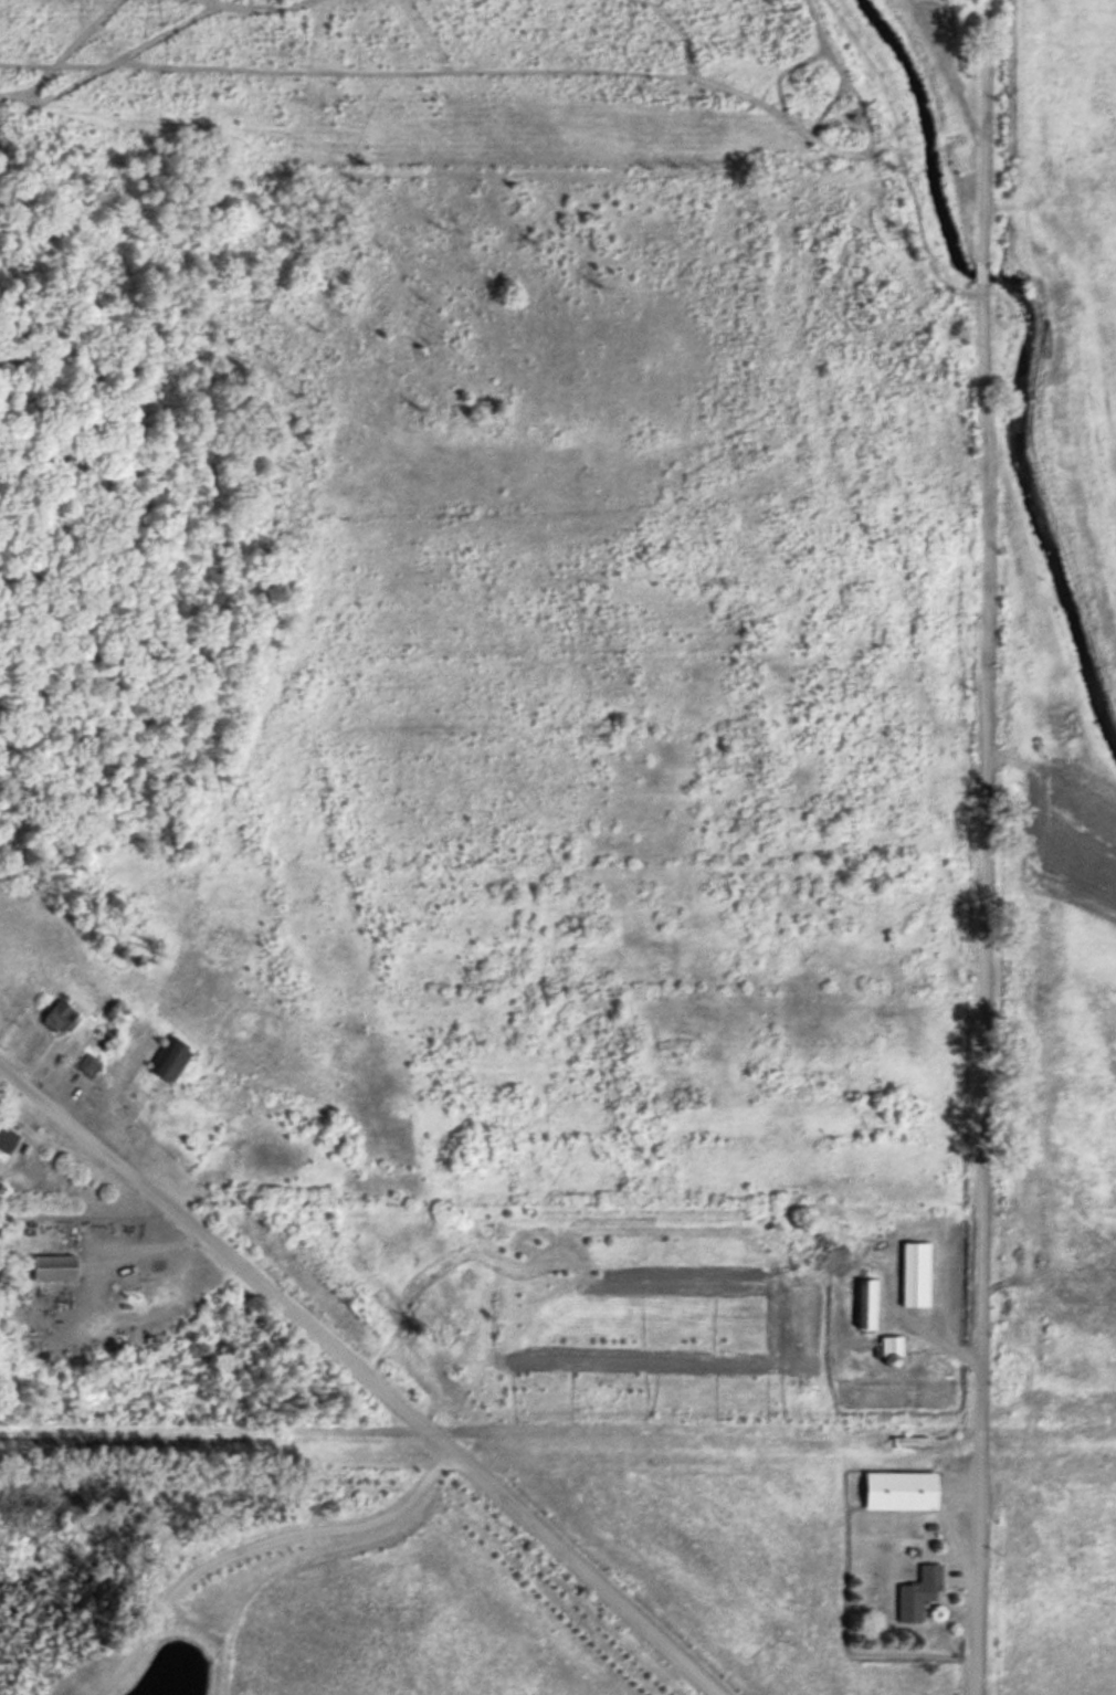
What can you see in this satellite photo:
road: (978, 847)
building: (54, 1013)
building: (160, 1054)
building: (85, 1063)
building: (6, 1135)
building: (50, 1263)
building: (912, 1270)
road: (361, 1377)
building: (895, 1486)
road: (251, 1540)
building: (916, 1589)

